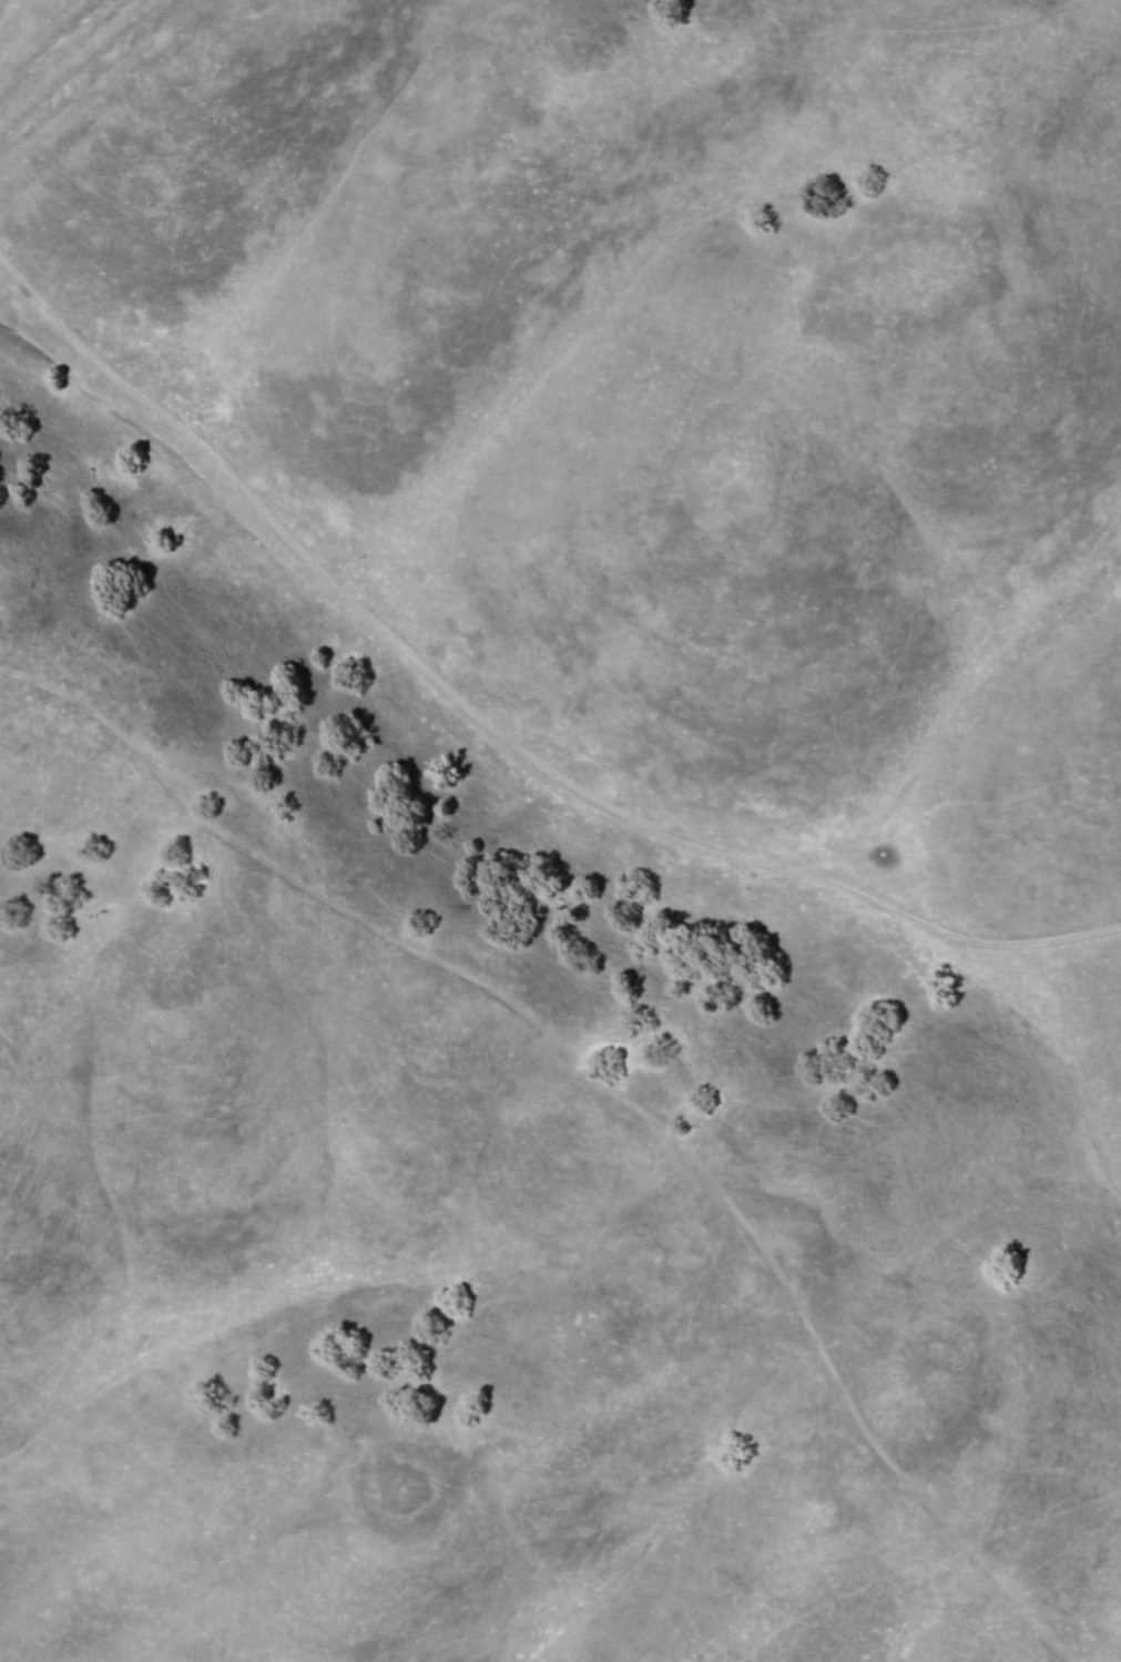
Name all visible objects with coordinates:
road: (489, 725)
road: (615, 1095)

